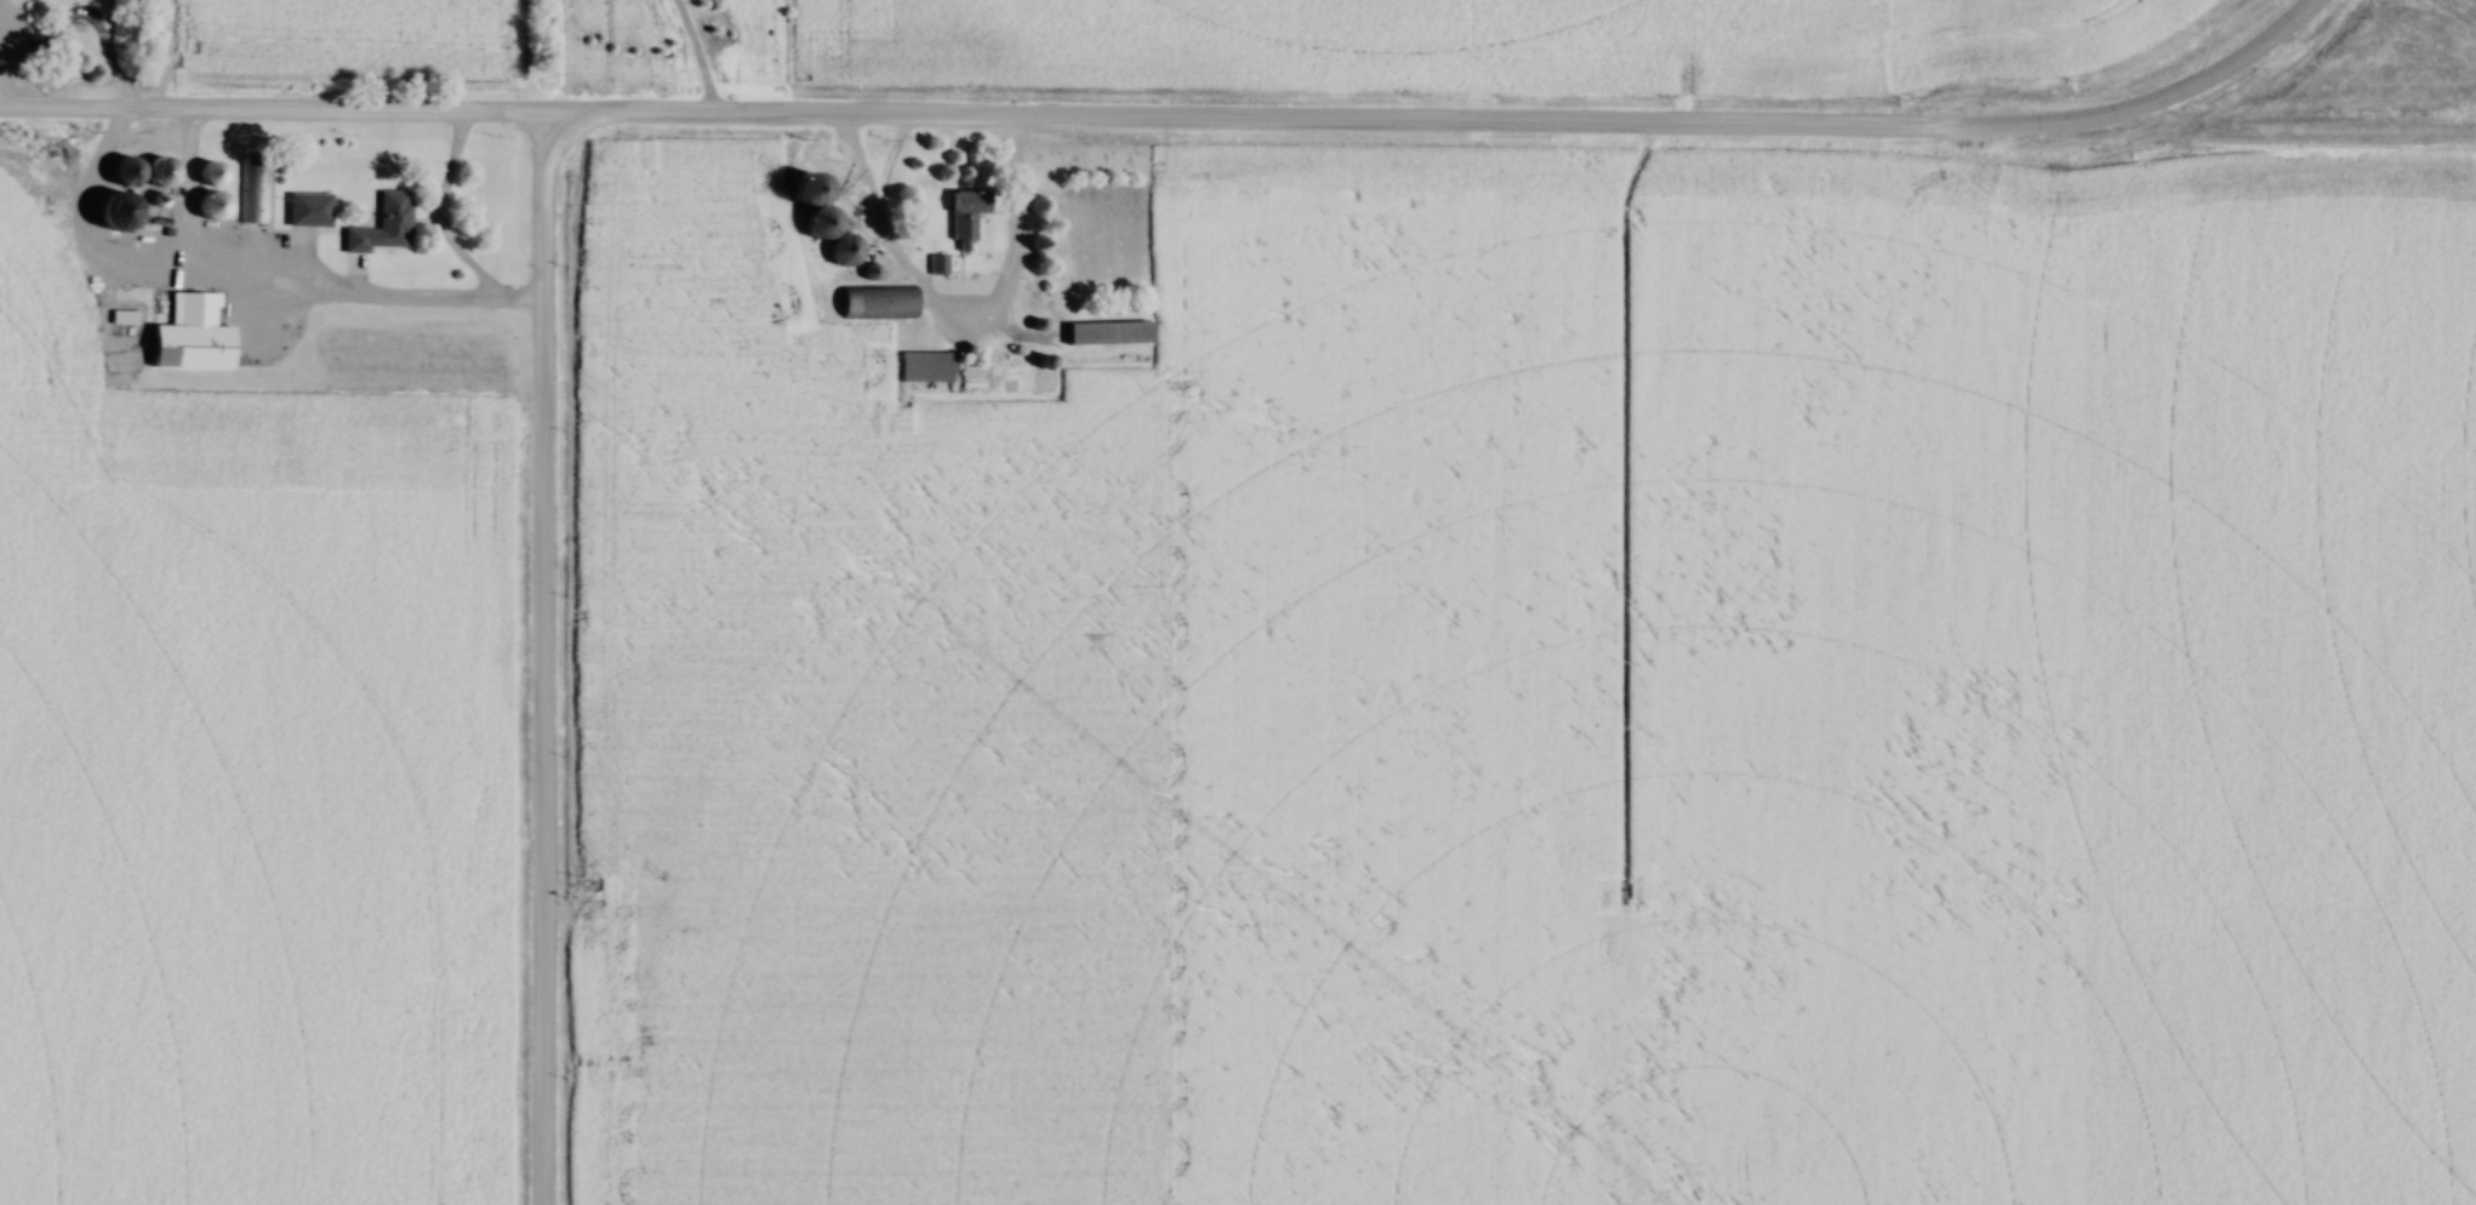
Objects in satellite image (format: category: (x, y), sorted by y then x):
road: (70, 18)
crop: (352, 35)
crop: (1491, 36)
road: (2129, 97)
road: (964, 120)
building: (252, 187)
building: (964, 213)
road: (435, 221)
building: (825, 222)
building: (381, 225)
road: (289, 293)
road: (951, 296)
building: (877, 299)
building: (1107, 331)
building: (190, 335)
building: (924, 365)
road: (535, 661)

